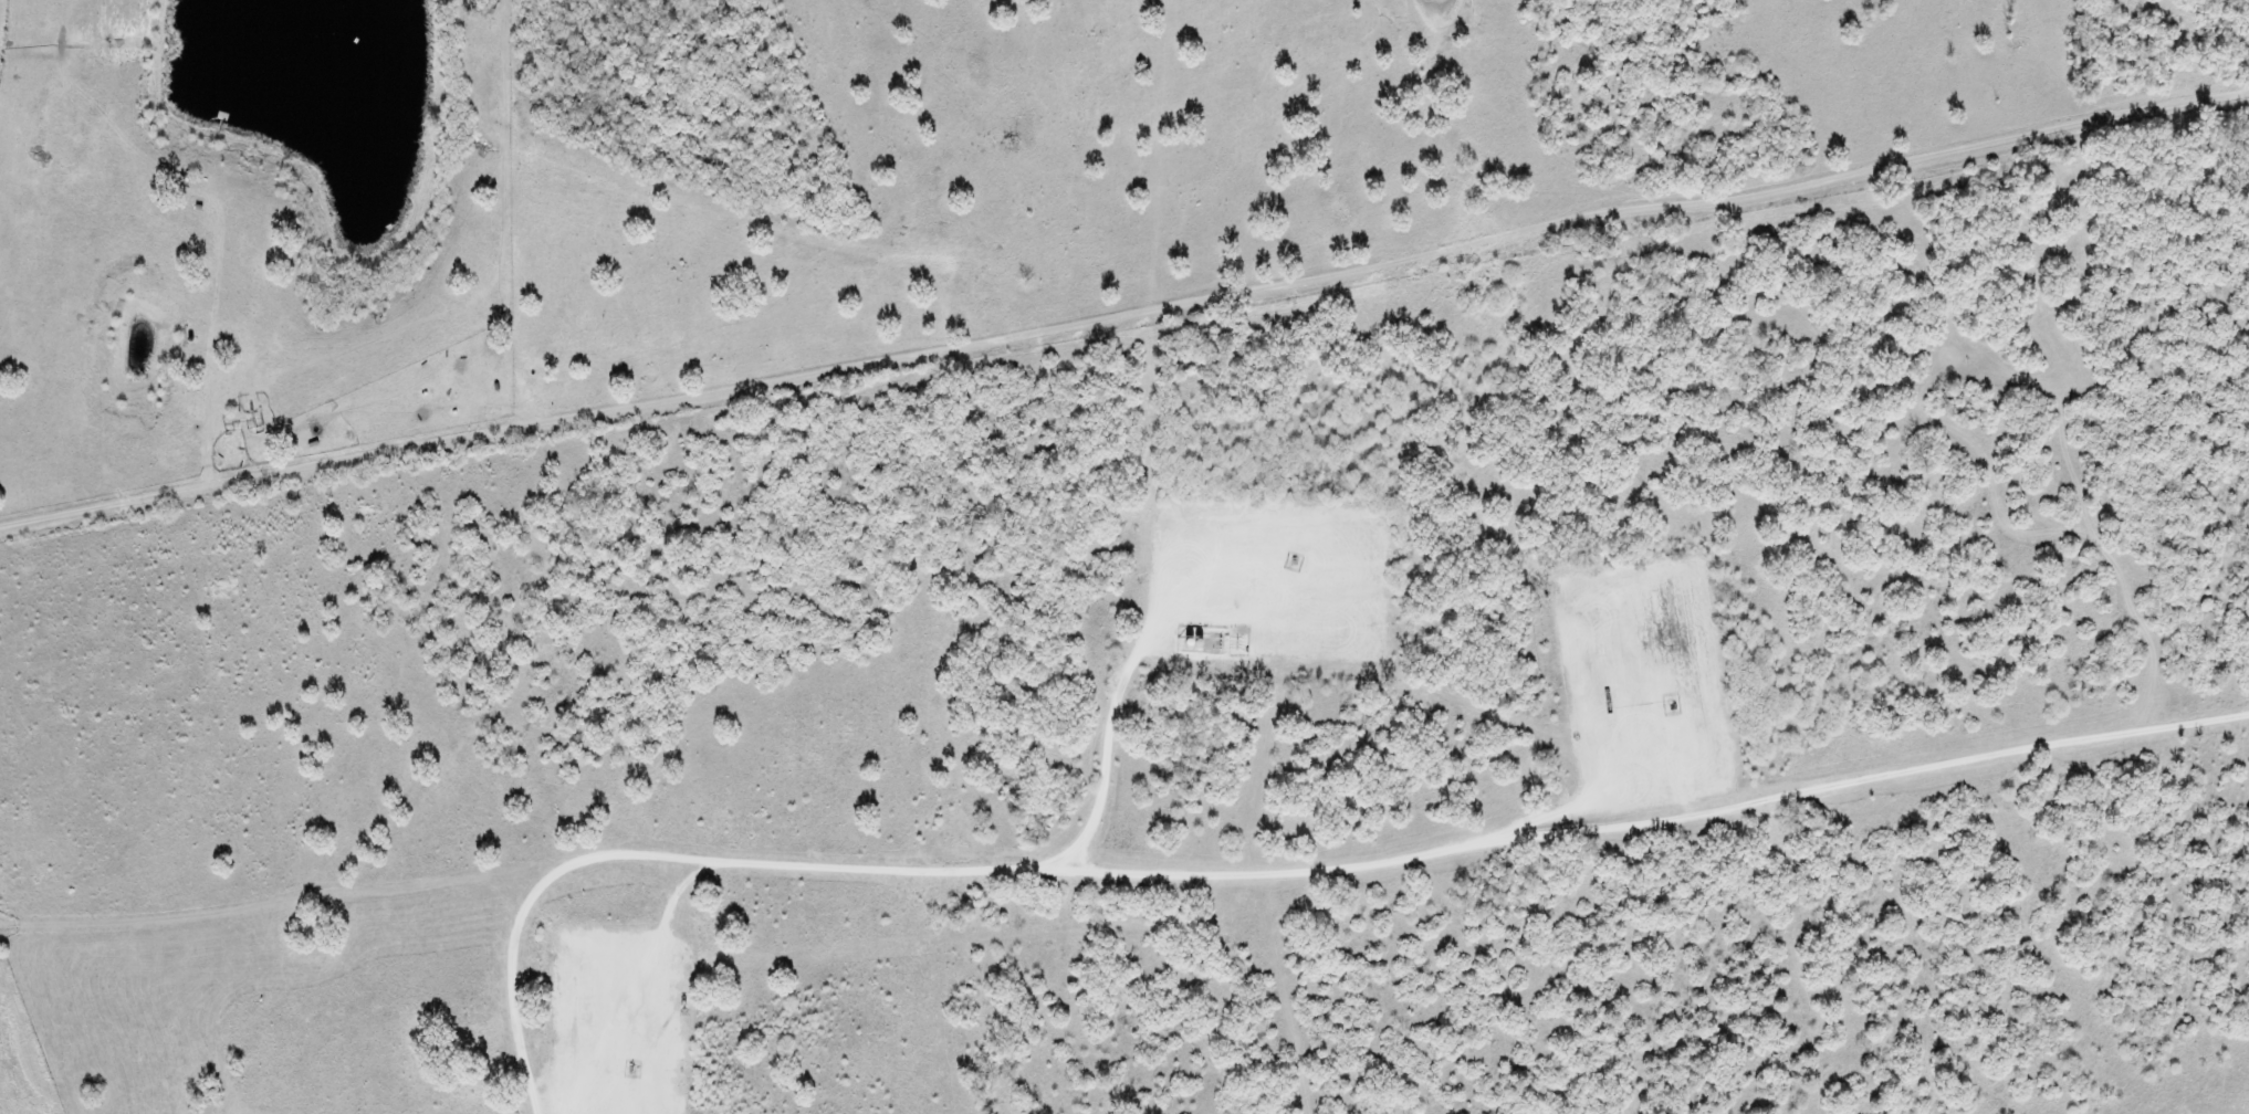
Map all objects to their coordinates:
road: (659, 849)
road: (1129, 886)
road: (0, 925)

